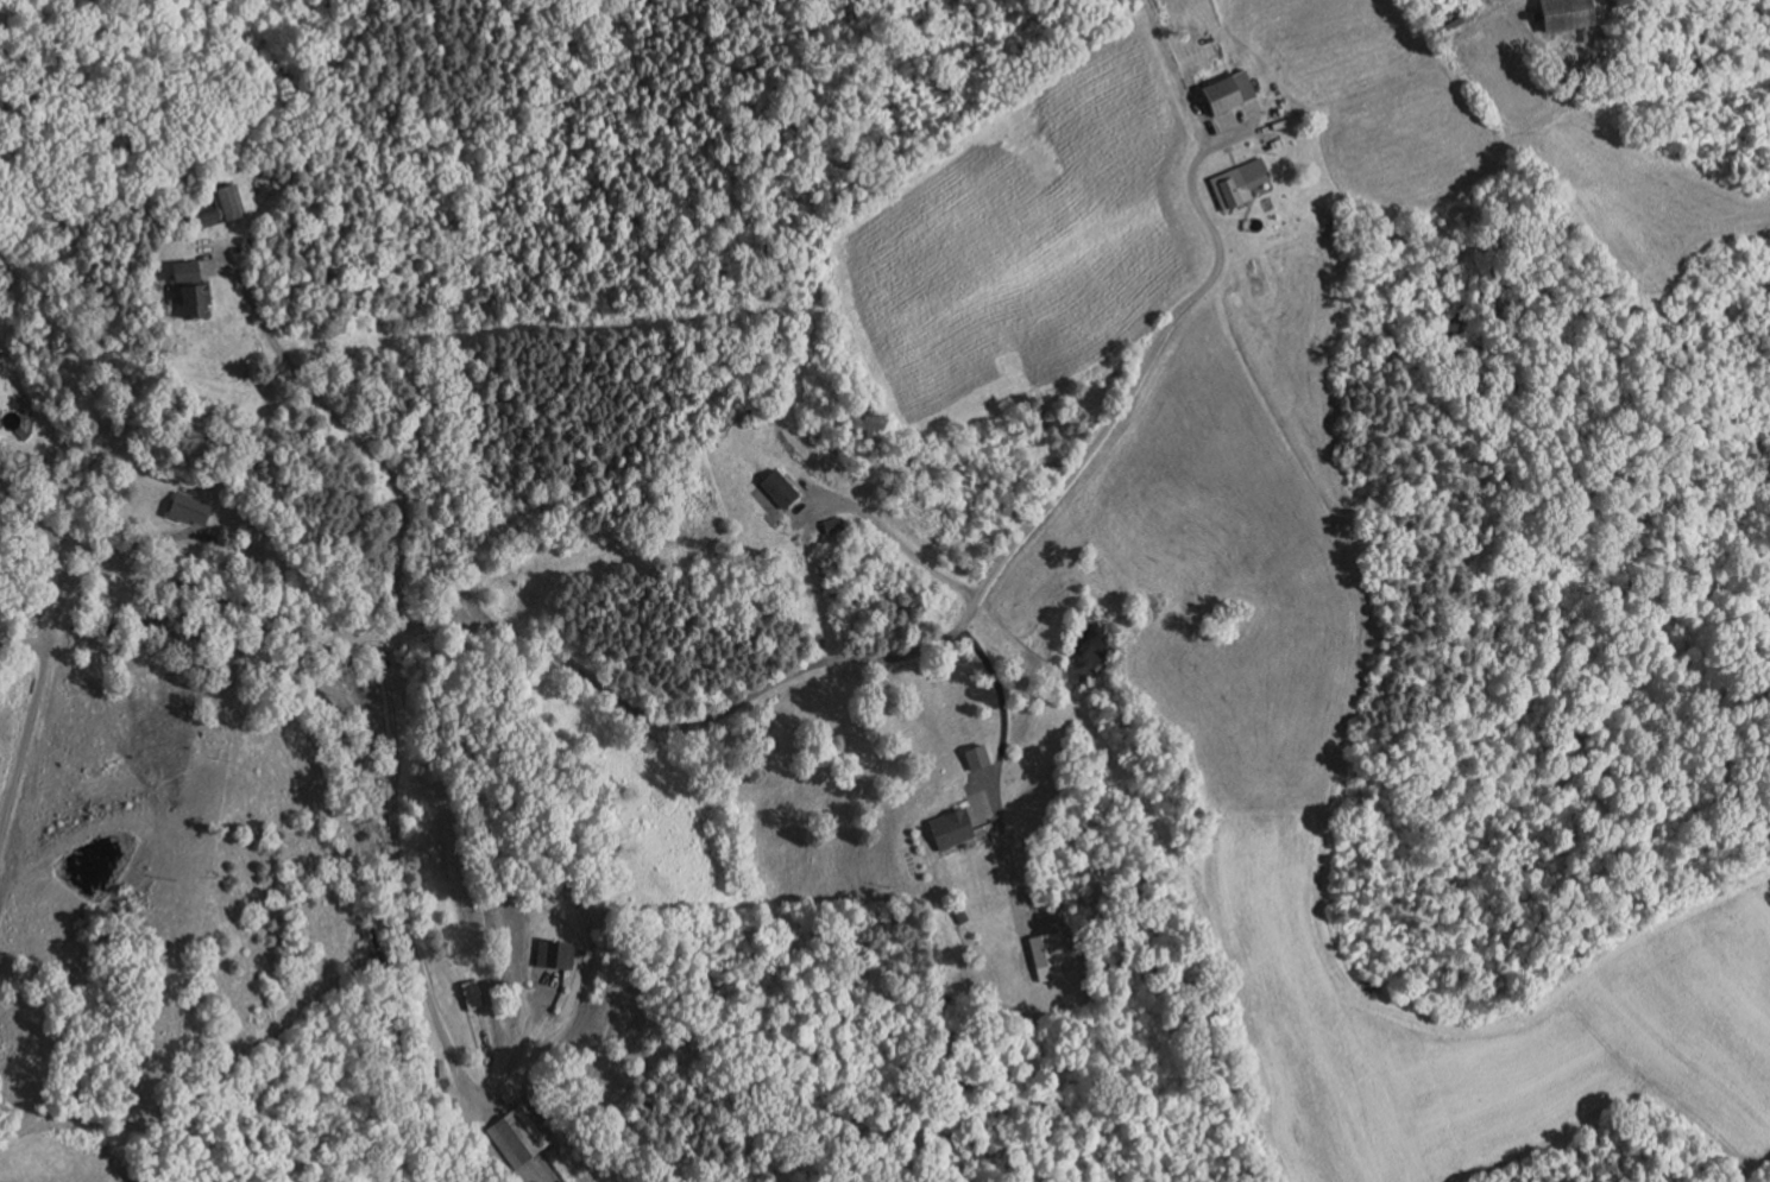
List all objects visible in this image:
building: (1561, 13)
road: (1392, 81)
building: (1216, 87)
building: (1255, 146)
building: (1233, 190)
building: (221, 207)
road: (222, 248)
building: (191, 290)
road: (1149, 359)
building: (1, 373)
road: (346, 422)
building: (777, 488)
building: (194, 507)
building: (830, 524)
road: (884, 525)
road: (207, 535)
road: (156, 539)
road: (96, 570)
road: (63, 586)
road: (503, 631)
road: (24, 638)
road: (1002, 722)
road: (24, 737)
building: (971, 754)
road: (984, 772)
building: (945, 826)
road: (1006, 854)
road: (414, 947)
building: (1043, 947)
building: (559, 954)
building: (474, 994)
road: (485, 1048)
road: (1688, 1113)
building: (519, 1136)

